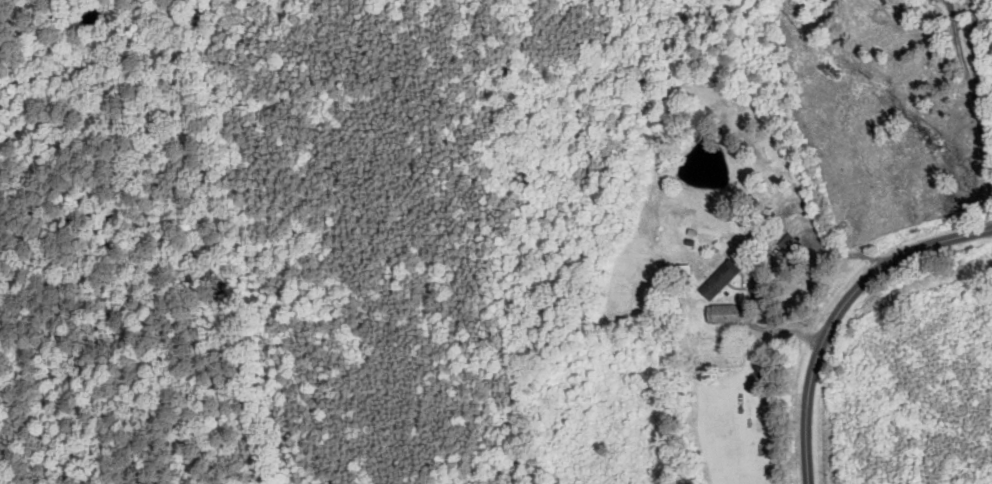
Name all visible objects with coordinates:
building: (787, 245)
building: (717, 279)
road: (832, 307)
building: (720, 313)

